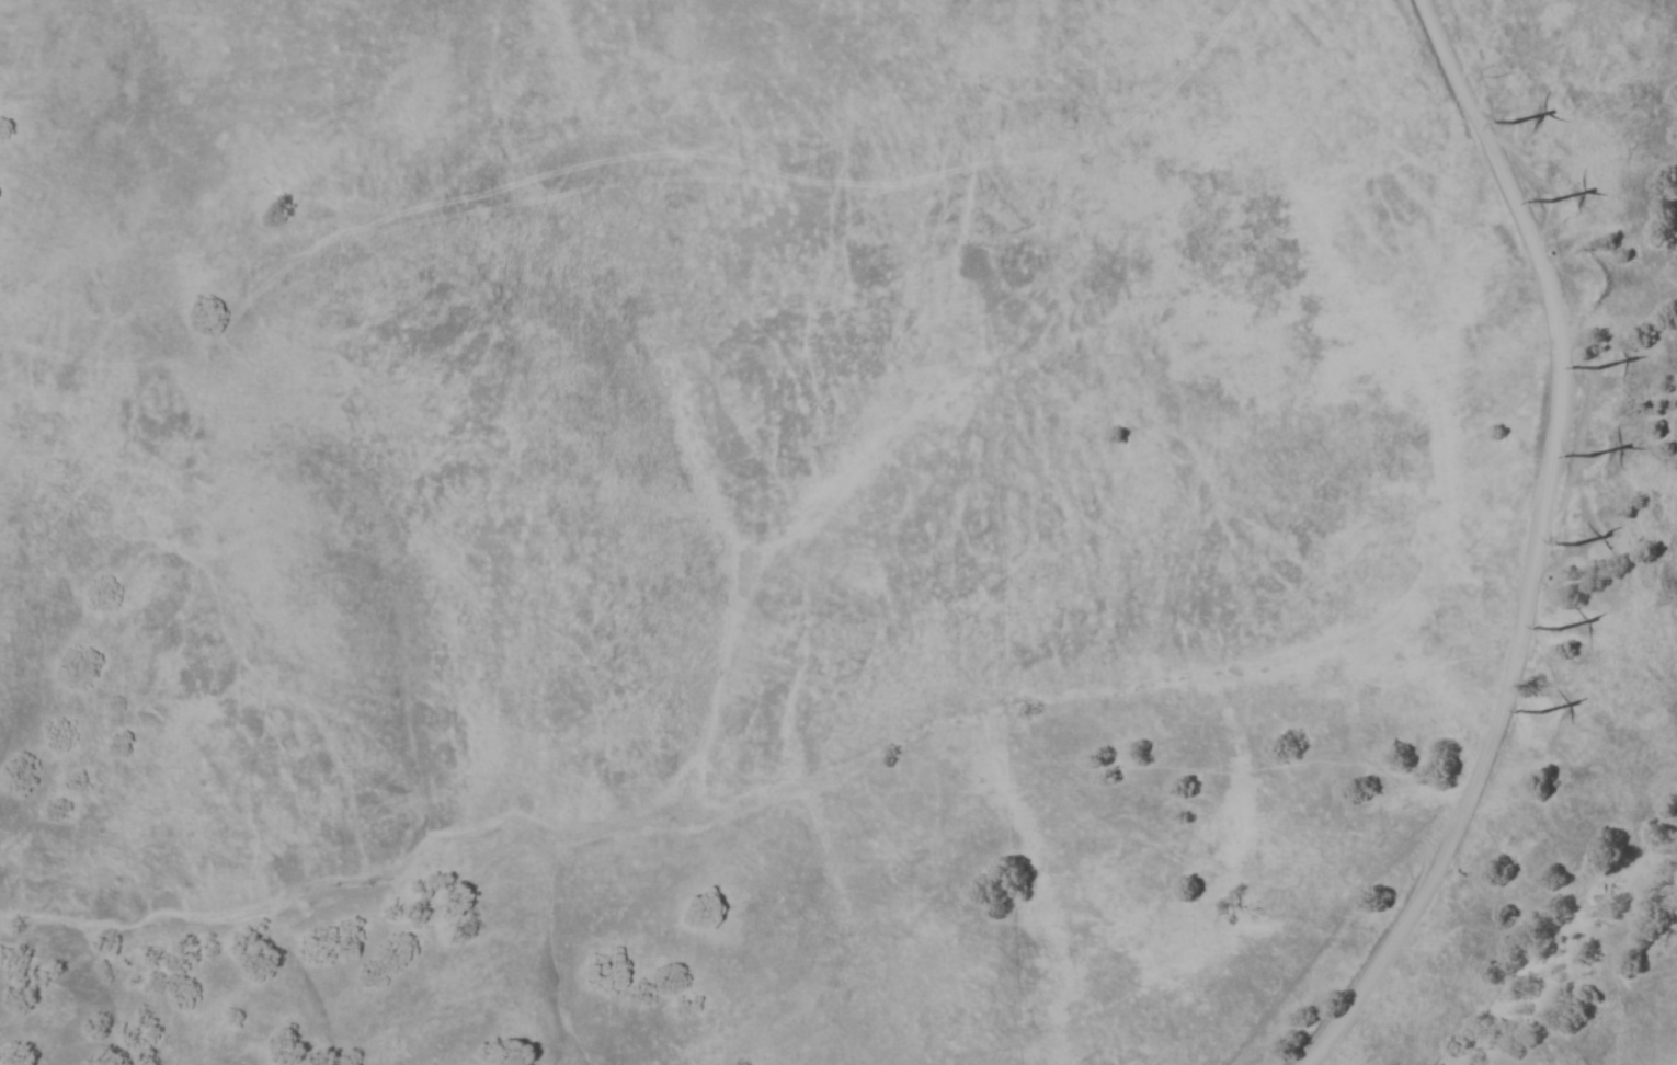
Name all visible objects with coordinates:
wind turbine: (1524, 116)
wind turbine: (1563, 188)
wind turbine: (1609, 366)
wind turbine: (1607, 451)
road: (1573, 462)
wind turbine: (1594, 546)
road: (1536, 548)
wind turbine: (1583, 629)
road: (1553, 694)
wind turbine: (1550, 706)

